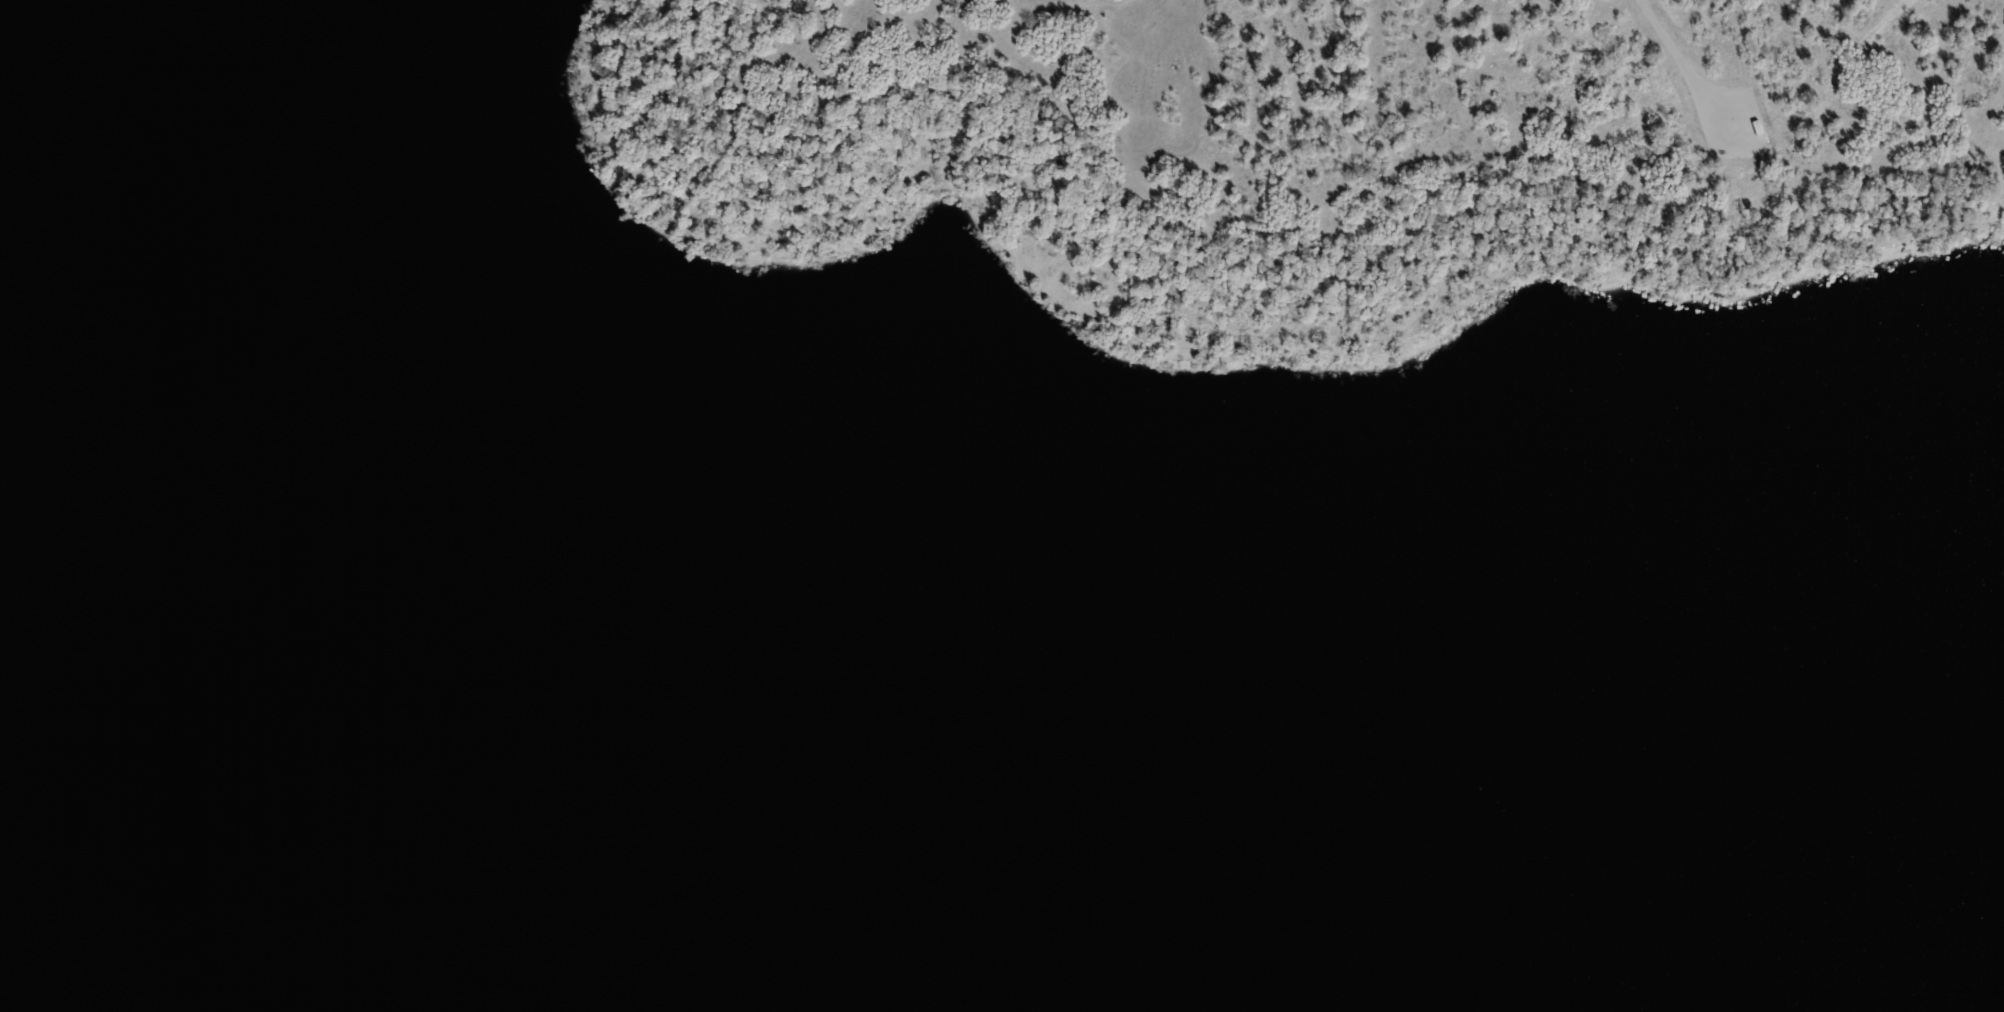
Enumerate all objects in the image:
park: (619, 817)

